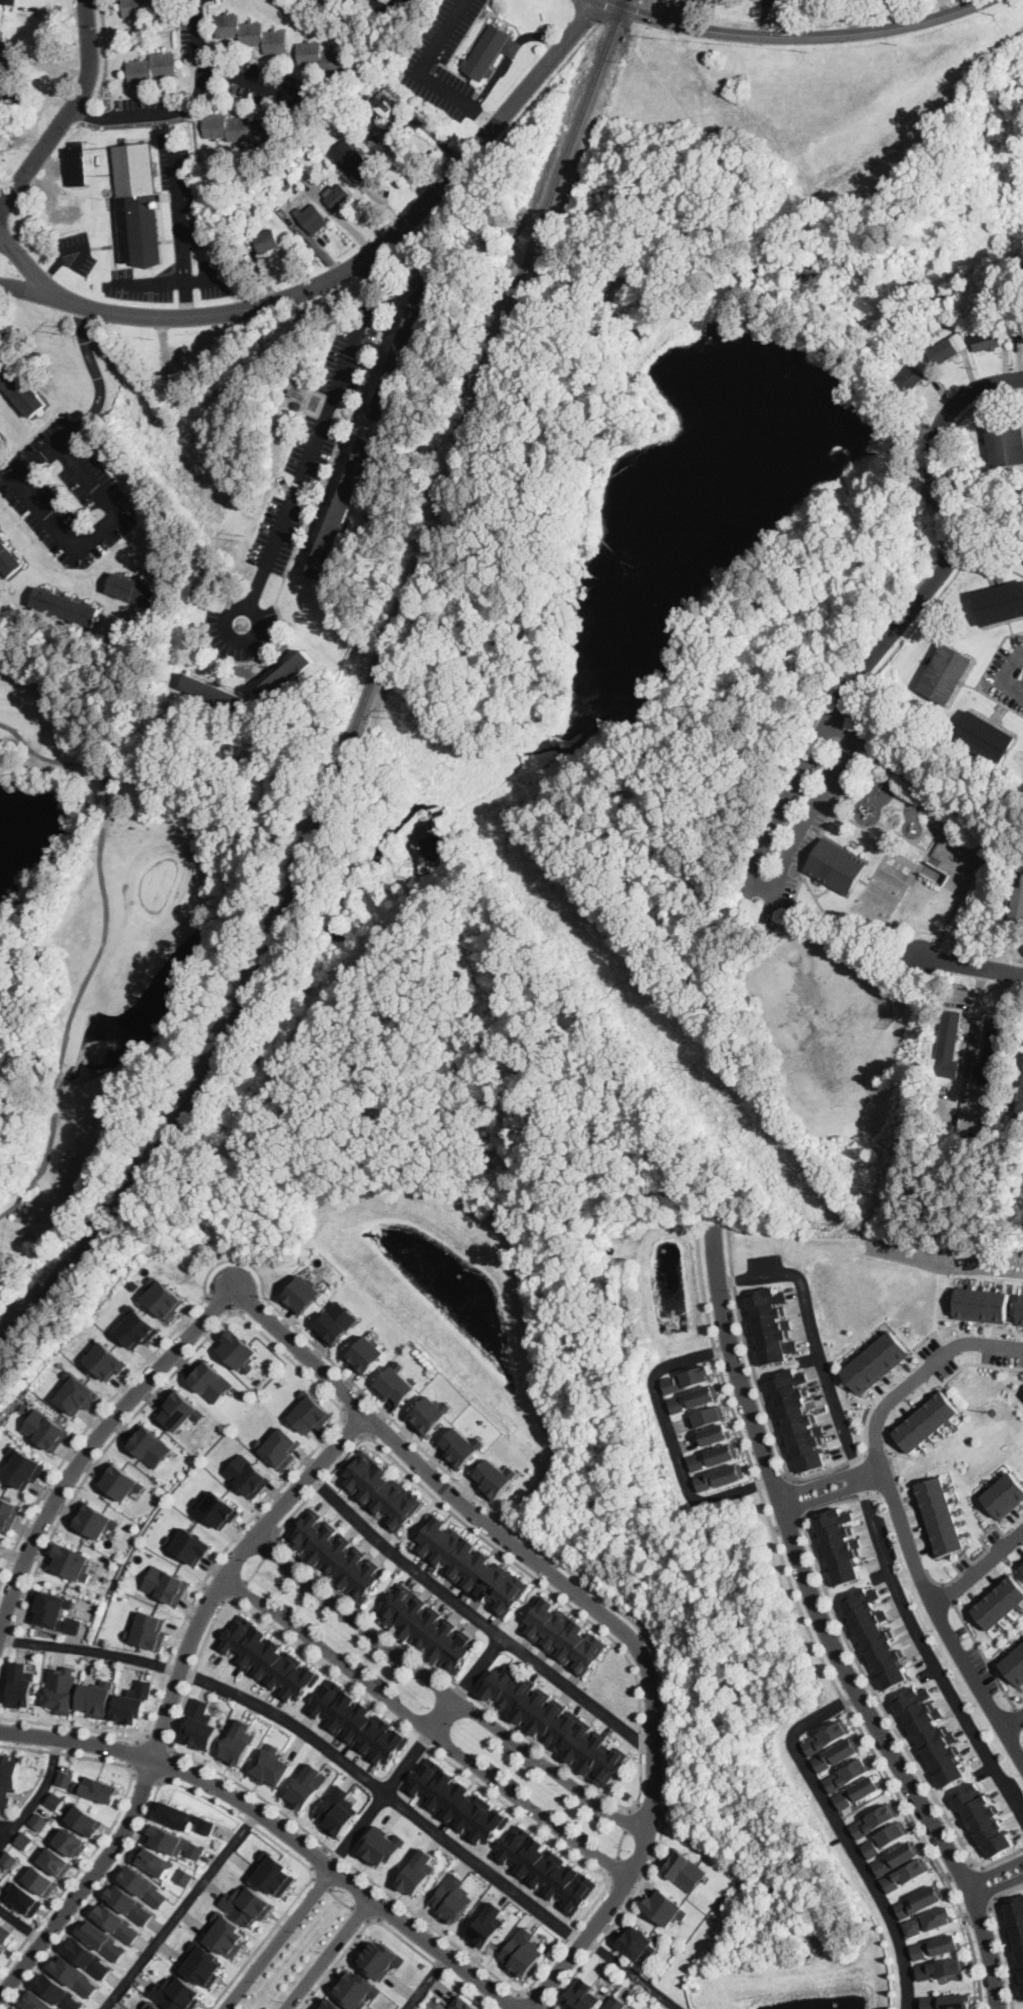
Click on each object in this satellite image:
building: (8, 1)
building: (390, 5)
building: (142, 6)
building: (251, 33)
road: (539, 33)
road: (792, 35)
road: (511, 48)
building: (6, 49)
building: (490, 51)
road: (106, 55)
building: (321, 57)
road: (423, 64)
building: (152, 67)
road: (230, 71)
road: (489, 82)
building: (2, 102)
road: (171, 107)
building: (387, 107)
road: (91, 112)
road: (69, 113)
road: (483, 118)
building: (239, 129)
road: (487, 151)
building: (352, 158)
building: (292, 163)
building: (76, 164)
building: (338, 196)
building: (137, 204)
road: (177, 204)
building: (311, 216)
building: (267, 240)
road: (73, 253)
road: (49, 270)
road: (340, 272)
road: (169, 283)
road: (26, 288)
road: (185, 296)
building: (936, 325)
power tower: (65, 329)
building: (1021, 331)
building: (1, 333)
building: (986, 339)
building: (960, 340)
building: (407, 343)
building: (943, 351)
road: (93, 366)
building: (910, 379)
building: (21, 388)
building: (291, 391)
building: (296, 404)
road: (69, 432)
building: (1, 440)
building: (1006, 441)
road: (312, 444)
building: (343, 507)
road: (116, 515)
power tower: (242, 538)
road: (952, 538)
building: (8, 559)
road: (960, 564)
building: (138, 592)
building: (1000, 603)
building: (65, 606)
building: (945, 673)
parking lot: (1007, 674)
building: (285, 676)
road: (1003, 676)
building: (213, 692)
railway: (365, 697)
road: (998, 701)
power tower: (392, 711)
building: (984, 737)
parking lot: (805, 808)
building: (836, 866)
road: (802, 870)
building: (934, 872)
road: (775, 889)
park: (880, 895)
building: (1018, 904)
park: (127, 923)
road: (971, 965)
park: (845, 977)
road: (973, 1034)
building: (950, 1043)
road: (725, 1051)
building: (992, 1051)
power tower: (695, 1066)
building: (1018, 1086)
power tower: (832, 1227)
building: (303, 1293)
building: (163, 1296)
building: (979, 1303)
building: (1020, 1310)
building: (335, 1321)
building: (768, 1324)
building: (137, 1326)
road: (813, 1339)
building: (236, 1347)
building: (367, 1353)
road: (749, 1355)
building: (107, 1360)
building: (874, 1361)
road: (918, 1372)
building: (211, 1378)
building: (687, 1379)
building: (398, 1384)
road: (323, 1390)
building: (75, 1393)
building: (692, 1398)
building: (309, 1410)
power tower: (991, 1411)
building: (179, 1412)
building: (434, 1414)
building: (700, 1418)
building: (794, 1418)
building: (924, 1420)
building: (19, 1421)
road: (356, 1426)
building: (44, 1427)
road: (672, 1436)
building: (703, 1438)
building: (149, 1444)
building: (465, 1444)
building: (279, 1446)
road: (428, 1452)
building: (711, 1457)
road: (850, 1459)
building: (21, 1466)
road: (427, 1468)
road: (871, 1472)
building: (246, 1475)
building: (497, 1477)
building: (719, 1477)
building: (118, 1480)
road: (831, 1485)
building: (379, 1488)
building: (1004, 1494)
road: (796, 1498)
building: (217, 1509)
building: (8, 1511)
building: (940, 1514)
building: (92, 1521)
road: (788, 1525)
building: (0, 1541)
building: (191, 1545)
building: (837, 1545)
road: (269, 1546)
building: (0, 1554)
building: (334, 1554)
building: (69, 1560)
building: (1022, 1563)
building: (474, 1565)
road: (979, 1568)
road: (254, 1569)
building: (164, 1582)
road: (237, 1591)
building: (1000, 1601)
building: (54, 1612)
road: (475, 1616)
road: (941, 1620)
building: (426, 1625)
building: (148, 1627)
road: (824, 1628)
road: (808, 1631)
building: (563, 1635)
building: (874, 1636)
road: (200, 1648)
road: (90, 1649)
road: (928, 1650)
road: (985, 1654)
building: (265, 1656)
road: (859, 1662)
building: (1015, 1663)
building: (20, 1683)
building: (60, 1687)
road: (446, 1688)
road: (170, 1694)
building: (94, 1697)
building: (130, 1704)
road: (639, 1708)
road: (1019, 1716)
building: (357, 1721)
building: (551, 1721)
road: (1014, 1721)
building: (198, 1726)
road: (425, 1726)
building: (929, 1736)
building: (826, 1738)
road: (155, 1740)
building: (237, 1744)
road: (132, 1751)
road: (417, 1752)
building: (835, 1754)
road: (168, 1766)
building: (270, 1767)
building: (848, 1773)
road: (145, 1776)
building: (65, 1777)
building: (9, 1779)
building: (305, 1785)
building: (95, 1788)
building: (857, 1790)
road: (194, 1792)
road: (37, 1794)
building: (627, 1794)
building: (453, 1799)
building: (54, 1800)
road: (649, 1808)
building: (336, 1810)
building: (184, 1817)
road: (627, 1817)
building: (83, 1818)
building: (984, 1818)
building: (40, 1820)
building: (873, 1820)
road: (112, 1821)
road: (7, 1825)
road: (278, 1826)
road: (434, 1828)
road: (844, 1833)
building: (889, 1834)
building: (25, 1839)
building: (69, 1841)
building: (174, 1841)
building: (383, 1844)
road: (618, 1844)
building: (869, 1848)
building: (896, 1857)
road: (1000, 1857)
building: (10, 1859)
building: (152, 1860)
building: (55, 1861)
building: (541, 1867)
road: (611, 1868)
road: (959, 1868)
building: (683, 1869)
building: (416, 1871)
building: (273, 1873)
building: (907, 1873)
building: (184, 1875)
building: (1, 1878)
road: (997, 1878)
building: (41, 1879)
road: (320, 1881)
road: (984, 1883)
building: (142, 1885)
building: (23, 1896)
building: (451, 1896)
road: (339, 1900)
building: (920, 1901)
building: (129, 1902)
building: (247, 1904)
building: (661, 1906)
road: (179, 1909)
road: (978, 1910)
road: (363, 1914)
building: (929, 1920)
road: (21, 1921)
building: (116, 1922)
building: (487, 1924)
road: (388, 1928)
building: (1016, 1930)
building: (4, 1933)
building: (224, 1933)
road: (1002, 1937)
road: (278, 1938)
building: (102, 1939)
building: (633, 1941)
building: (936, 1945)
building: (521, 1950)
building: (1, 1951)
road: (328, 1953)
building: (89, 1956)
building: (378, 1958)
building: (202, 1963)
building: (940, 1968)
building: (73, 1975)
road: (426, 1982)
building: (355, 1988)
building: (59, 1991)
building: (177, 1992)
building: (577, 1995)
road: (513, 1999)
road: (536, 2000)
building: (947, 2000)
building: (38, 2001)
road: (4, 2003)
building: (462, 2003)
building: (330, 2004)
building: (616, 2004)
building: (152, 2005)
building: (20, 2008)

